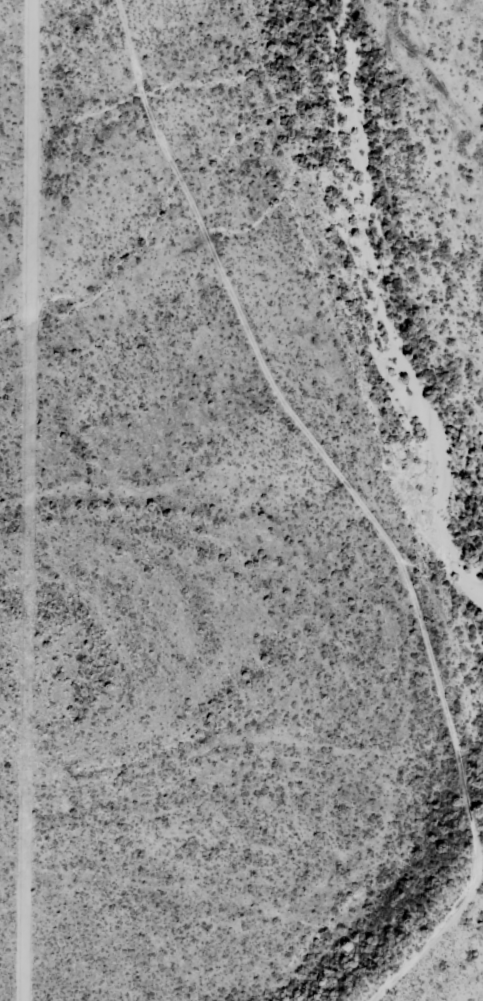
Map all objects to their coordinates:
road: (298, 504)

